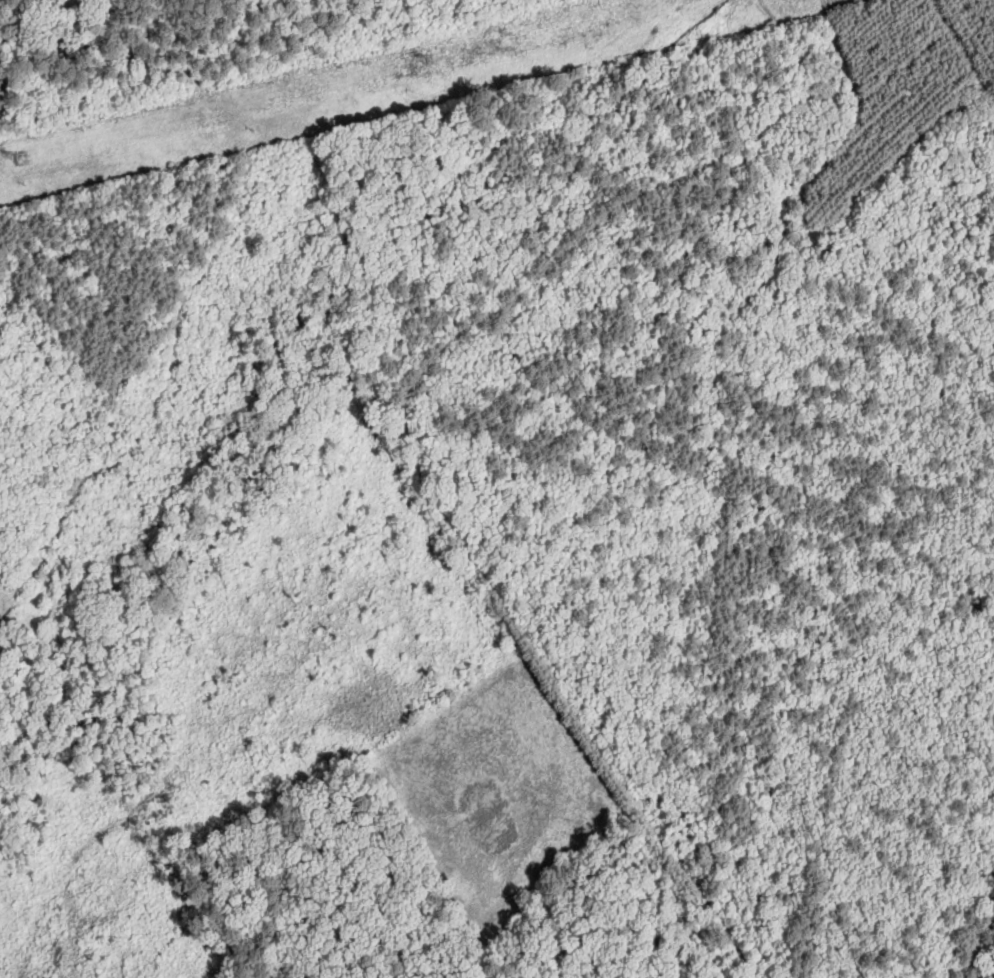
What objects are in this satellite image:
power tower: (430, 60)
power tower: (22, 158)

